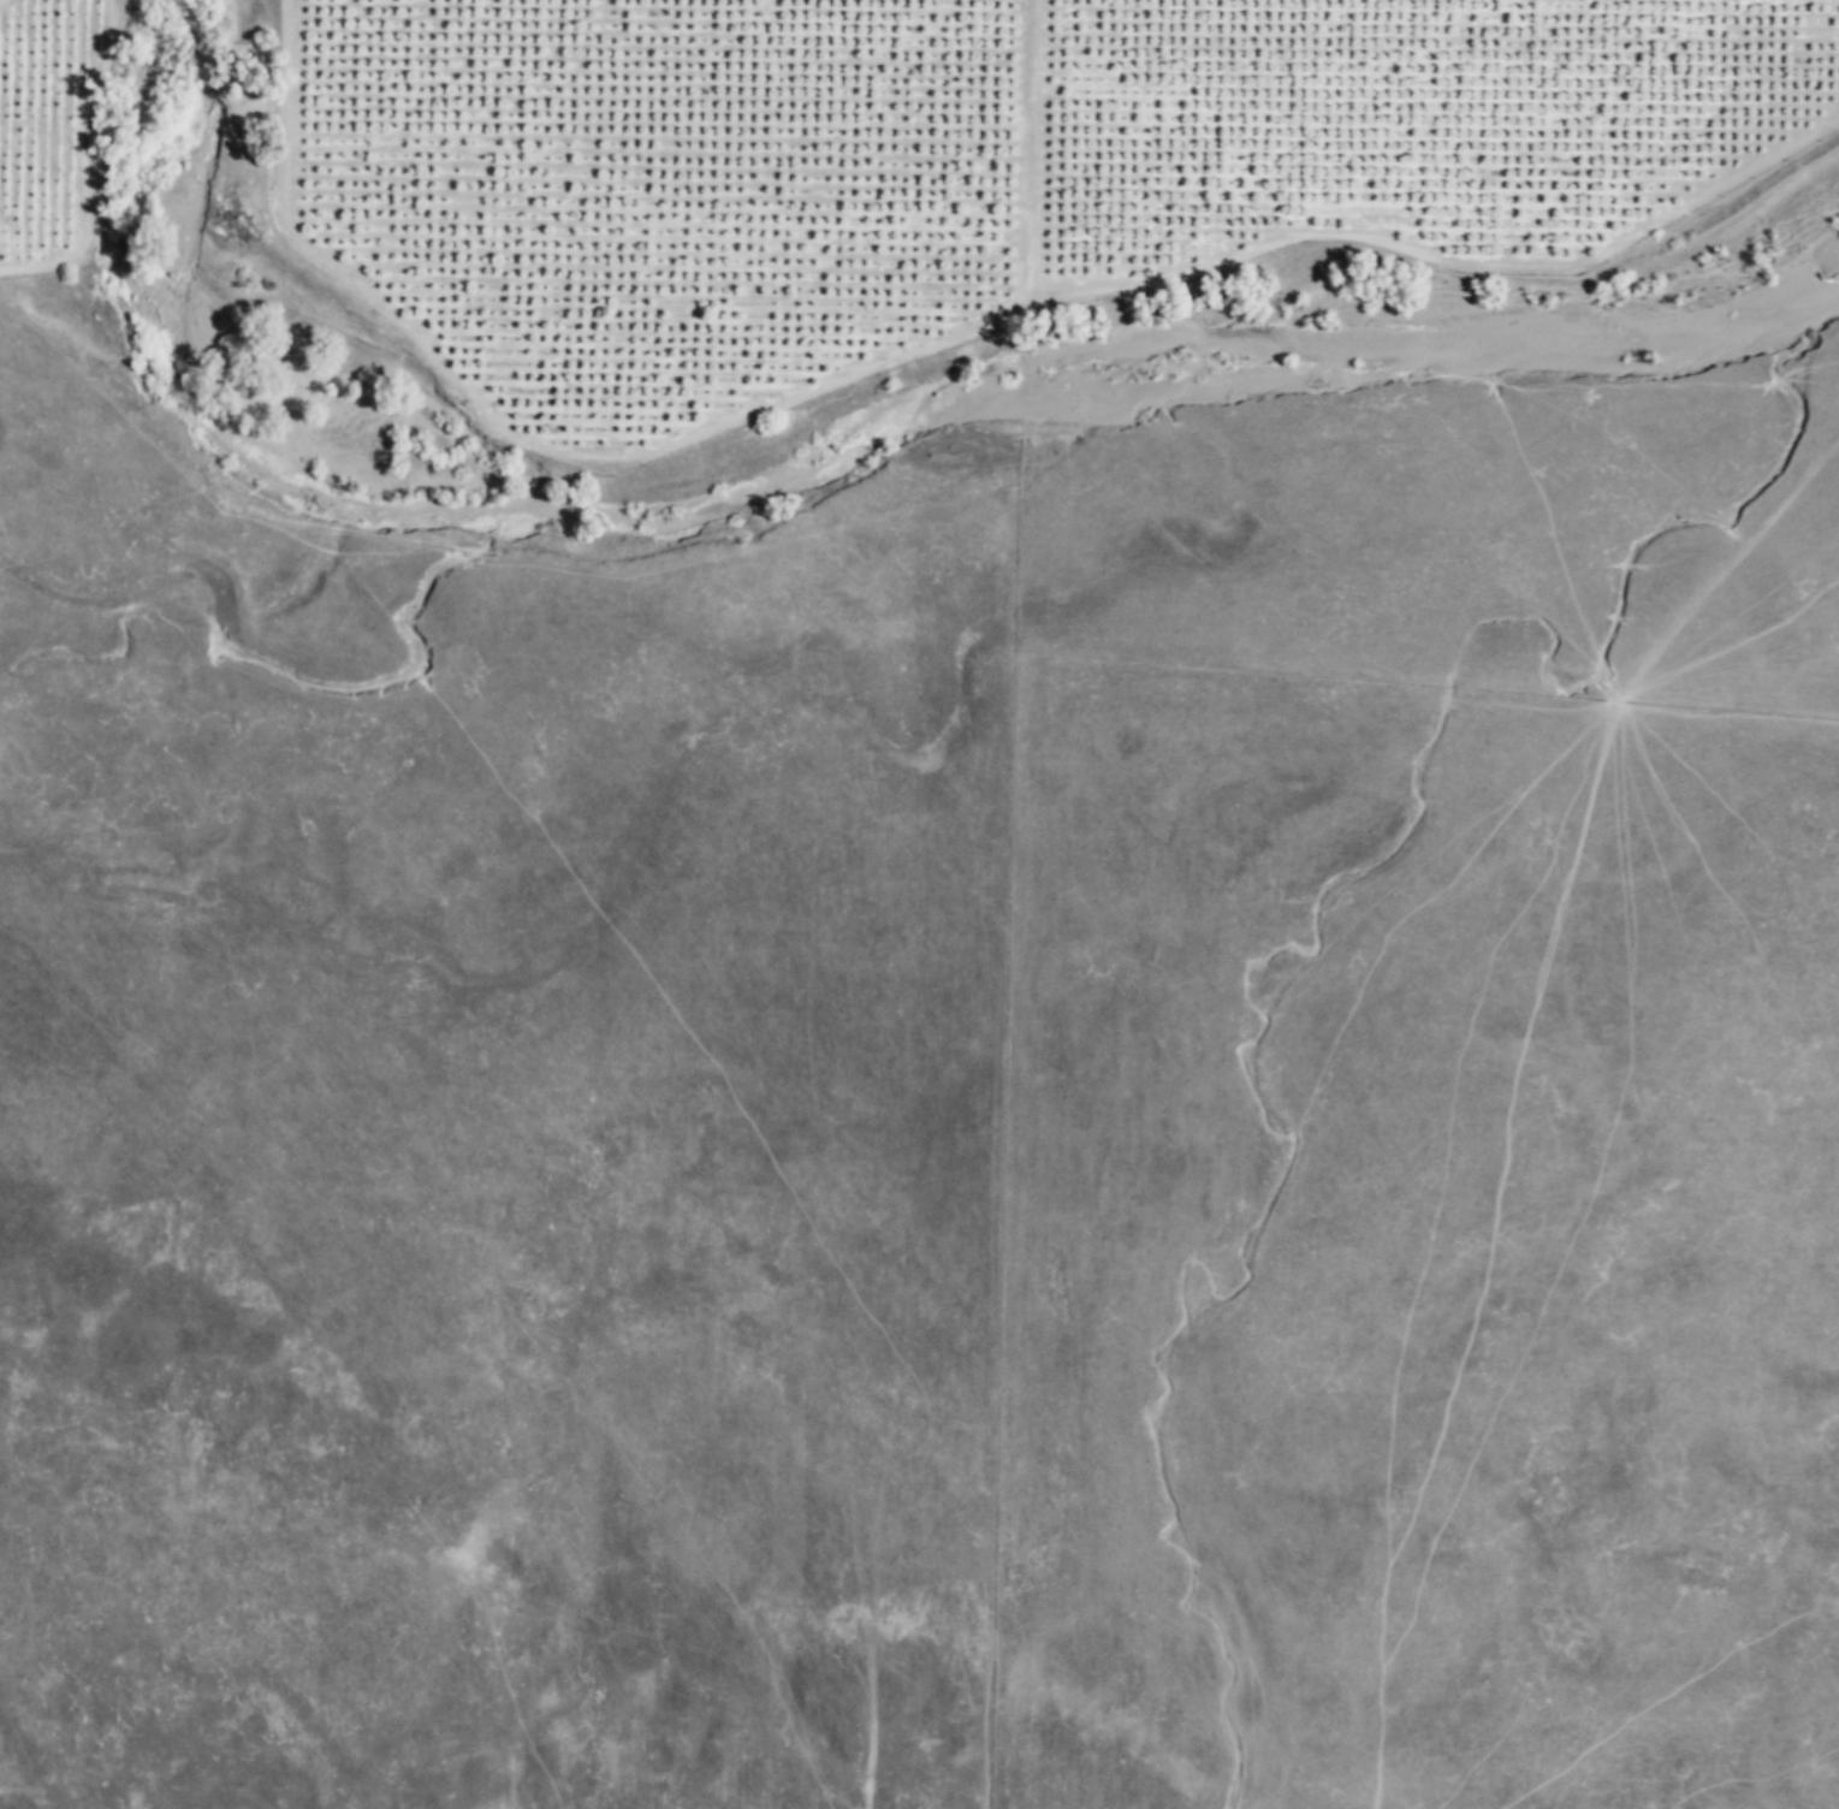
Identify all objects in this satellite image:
river: (813, 464)
road: (1572, 713)
road: (878, 1485)

